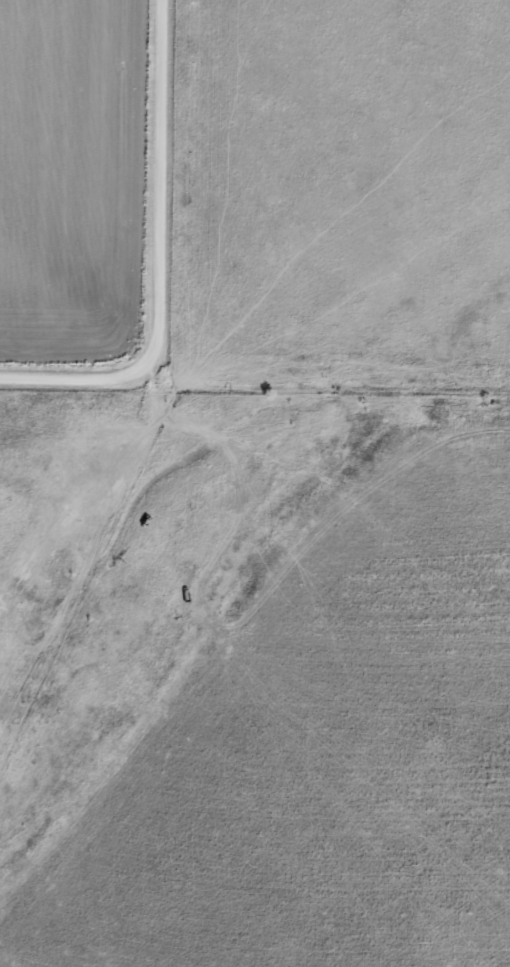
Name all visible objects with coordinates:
road: (164, 258)

